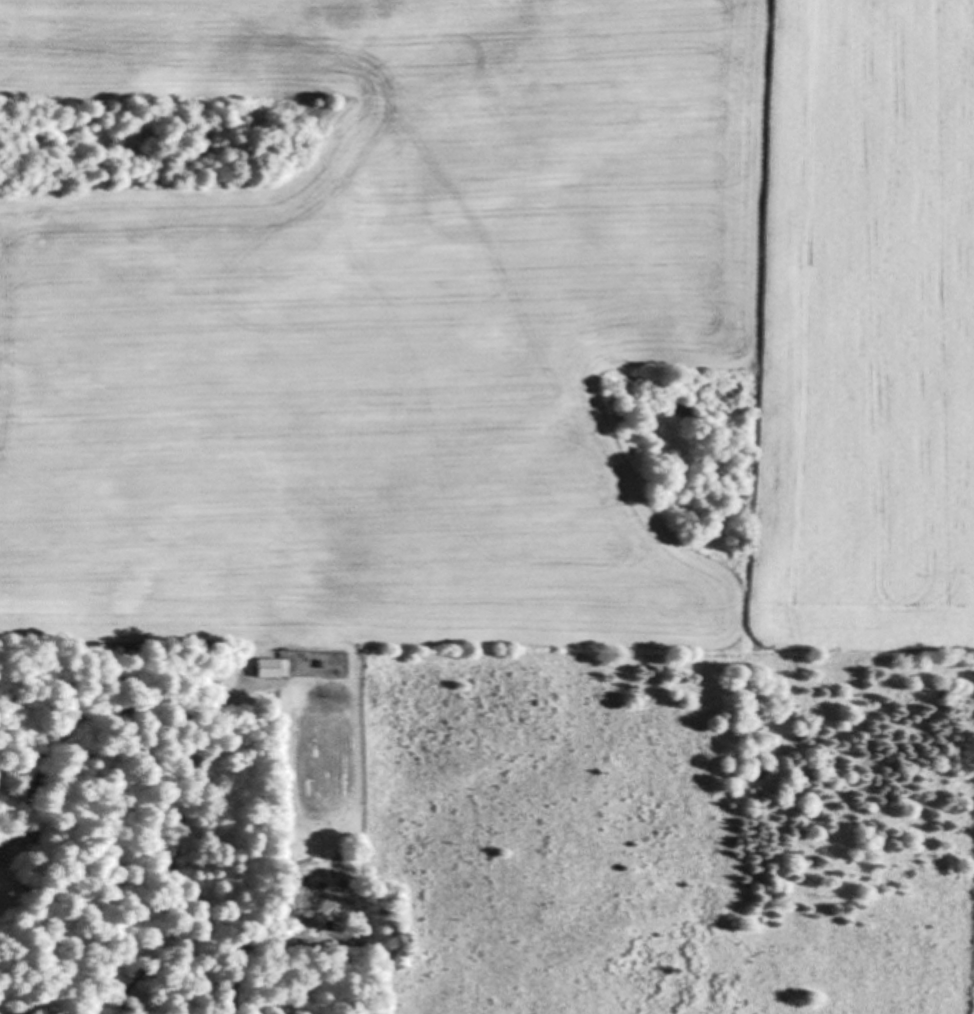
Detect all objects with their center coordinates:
building: (270, 670)

